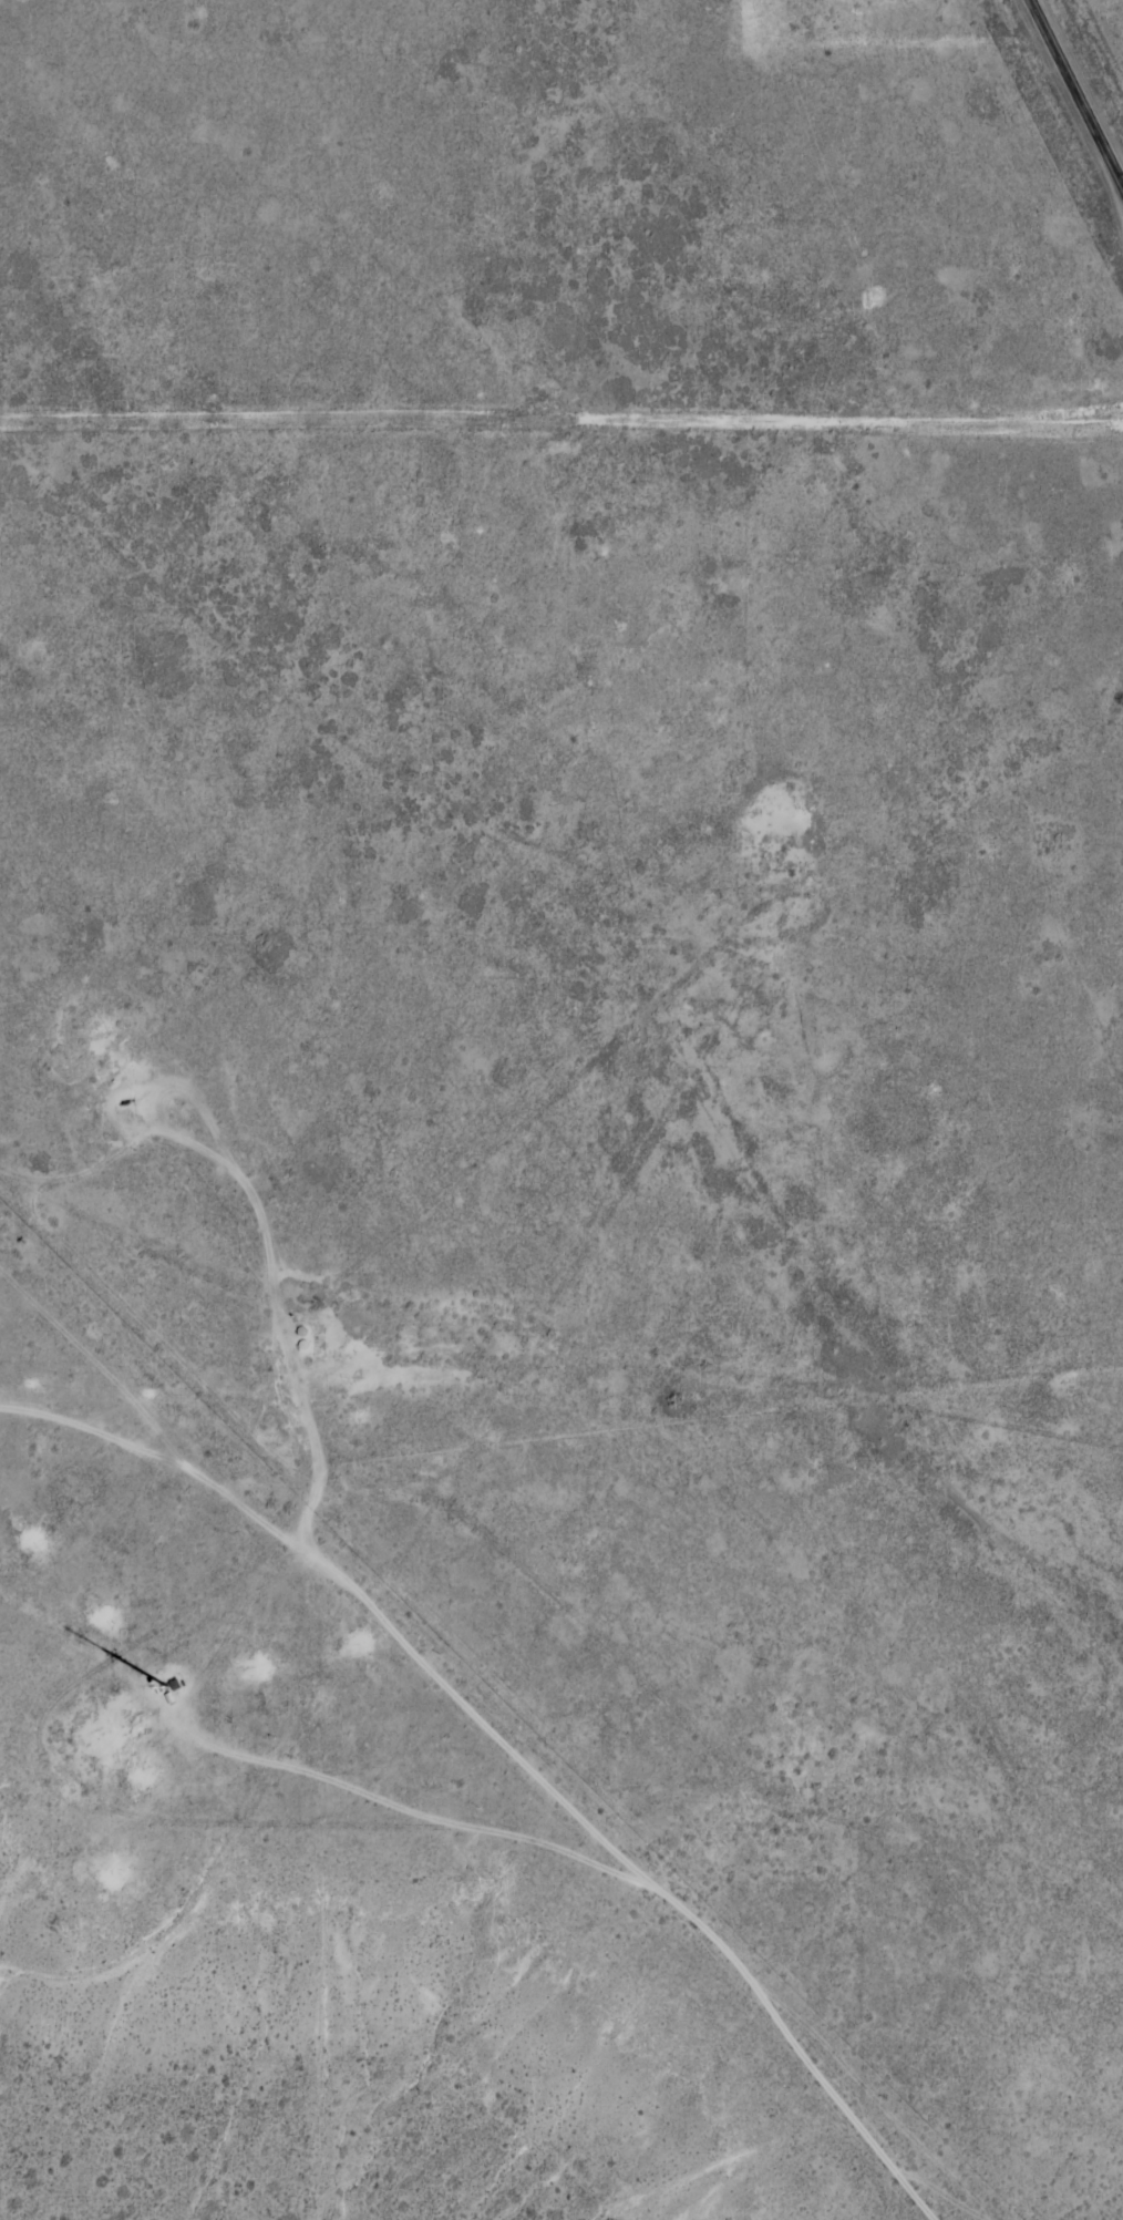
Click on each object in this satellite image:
road: (1078, 90)
road: (274, 1311)
road: (360, 1585)
road: (645, 1871)

